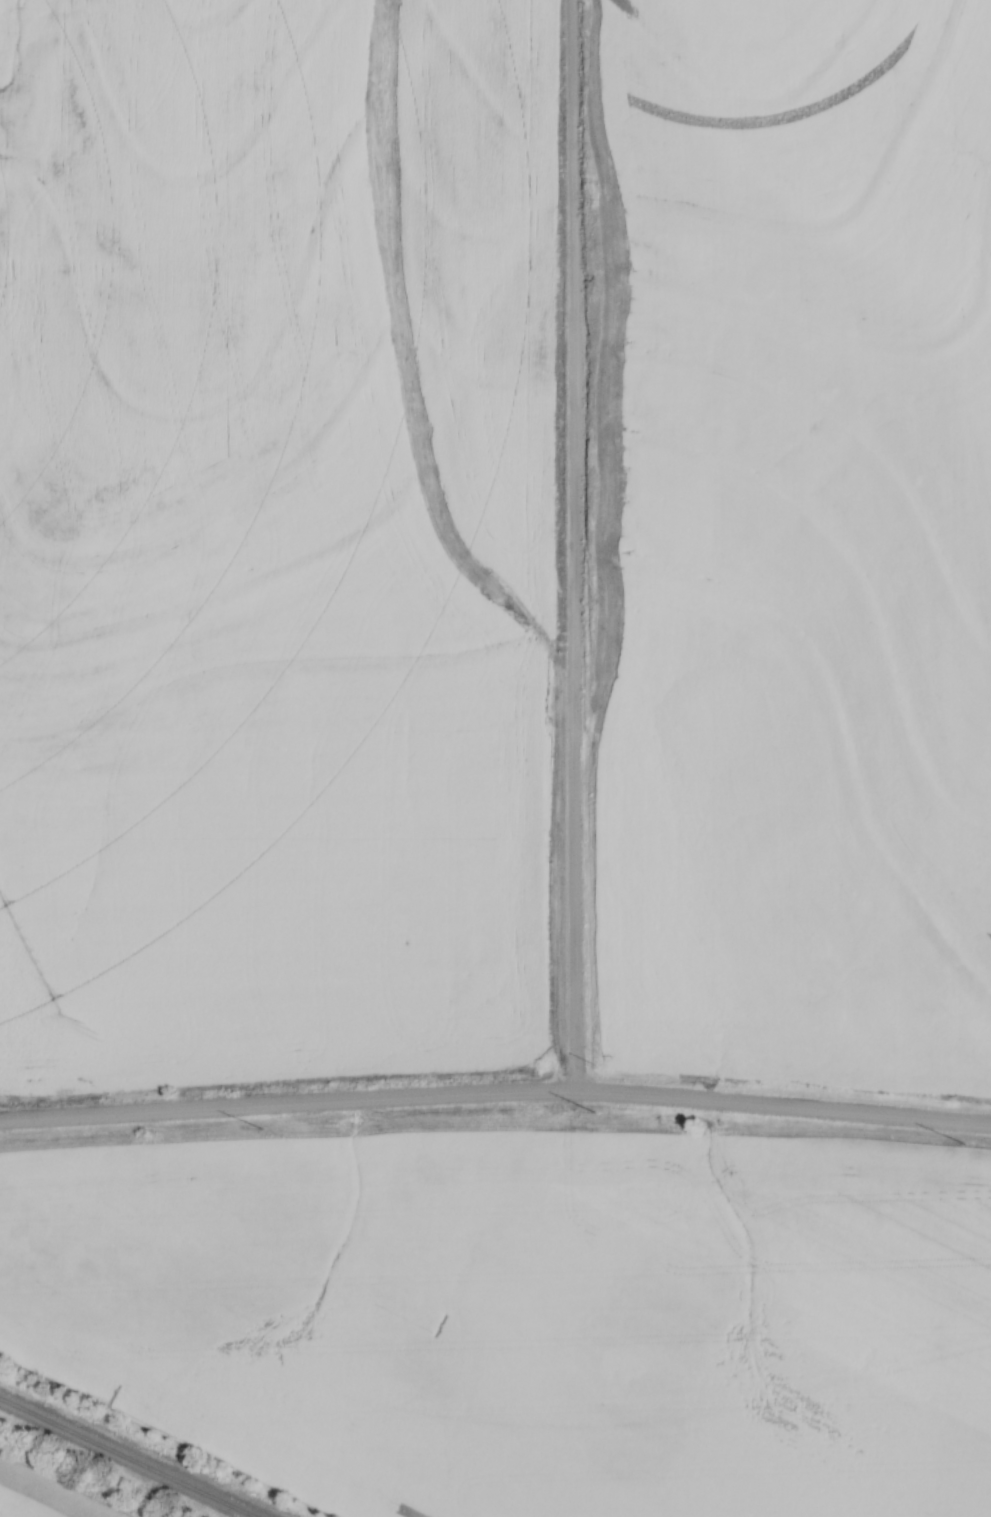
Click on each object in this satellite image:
road: (575, 546)
road: (495, 1093)
railway: (129, 1456)

